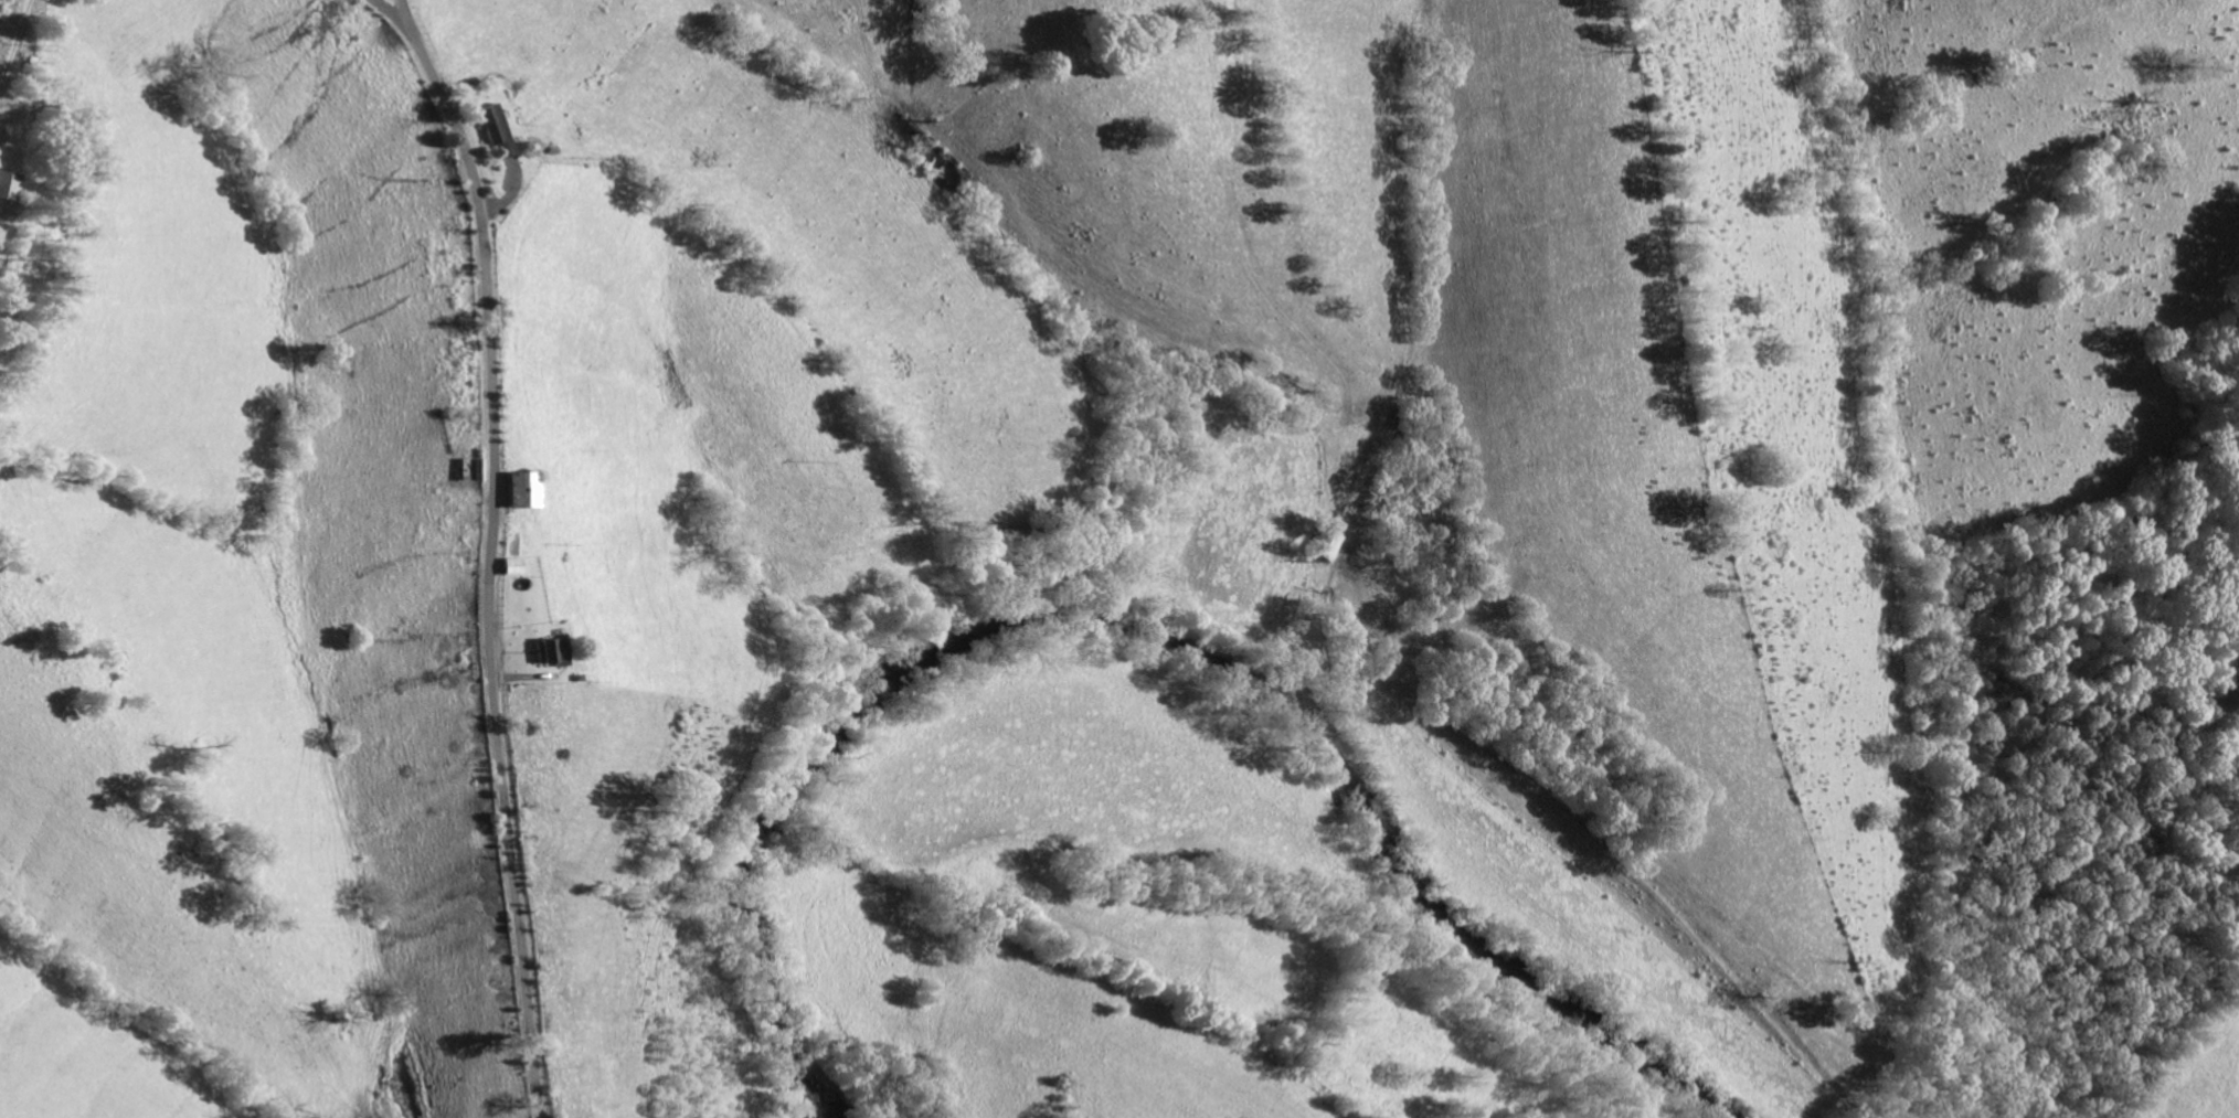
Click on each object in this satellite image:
road: (386, 14)
building: (494, 131)
building: (8, 187)
building: (467, 469)
building: (518, 489)
road: (488, 553)
building: (548, 651)

